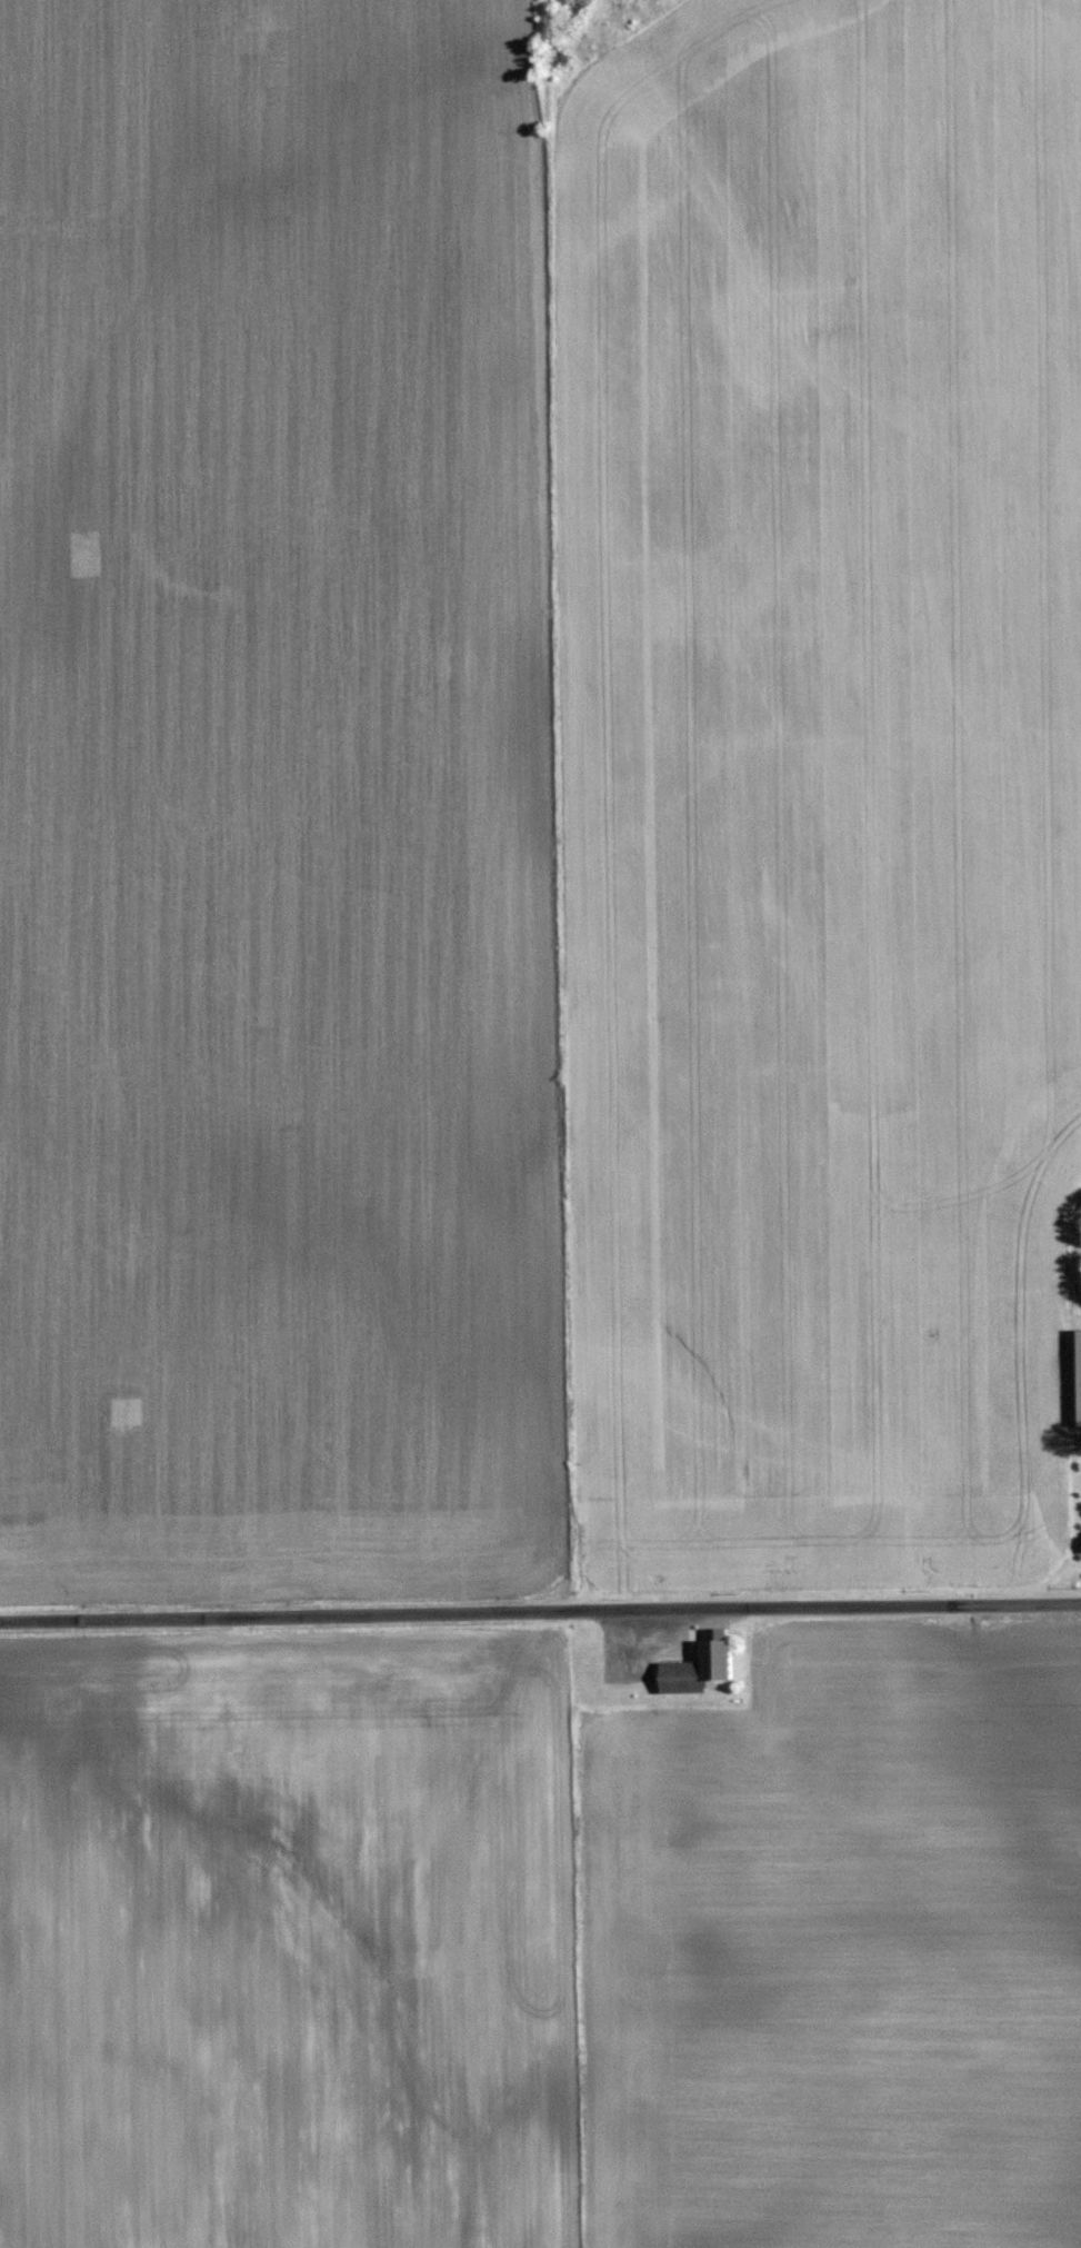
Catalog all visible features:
road: (540, 1612)
building: (705, 1667)

